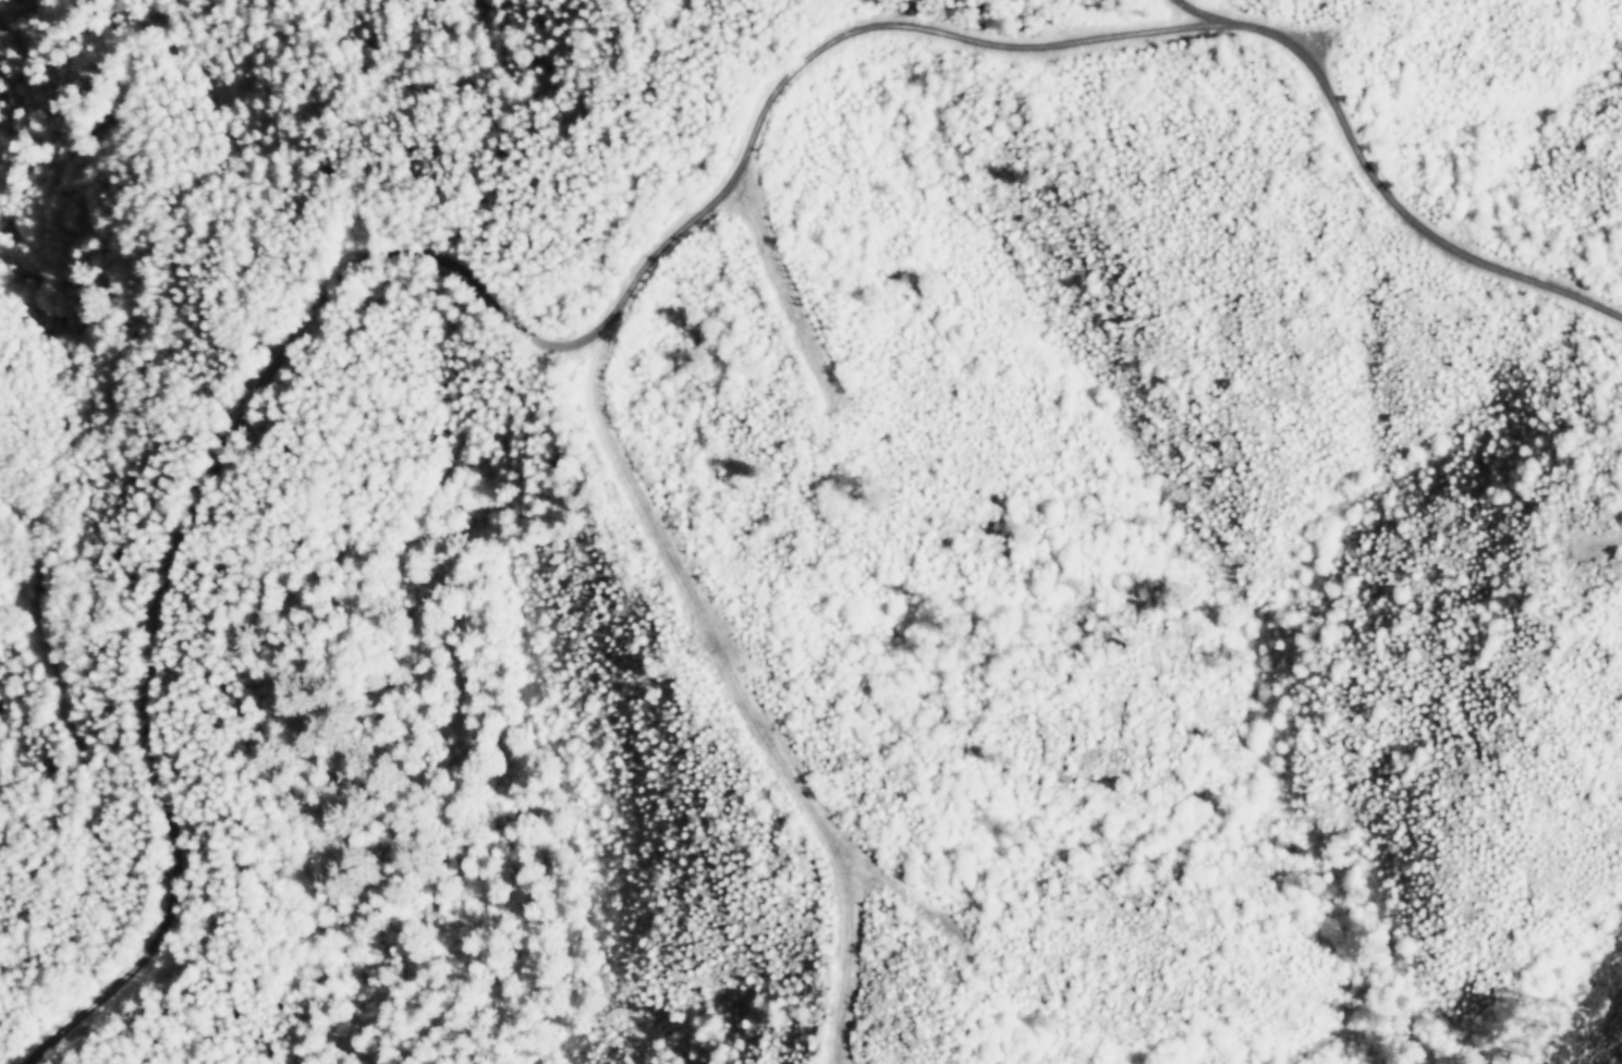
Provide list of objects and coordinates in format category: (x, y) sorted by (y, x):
road: (1381, 176)
road: (430, 252)
road: (63, 693)

